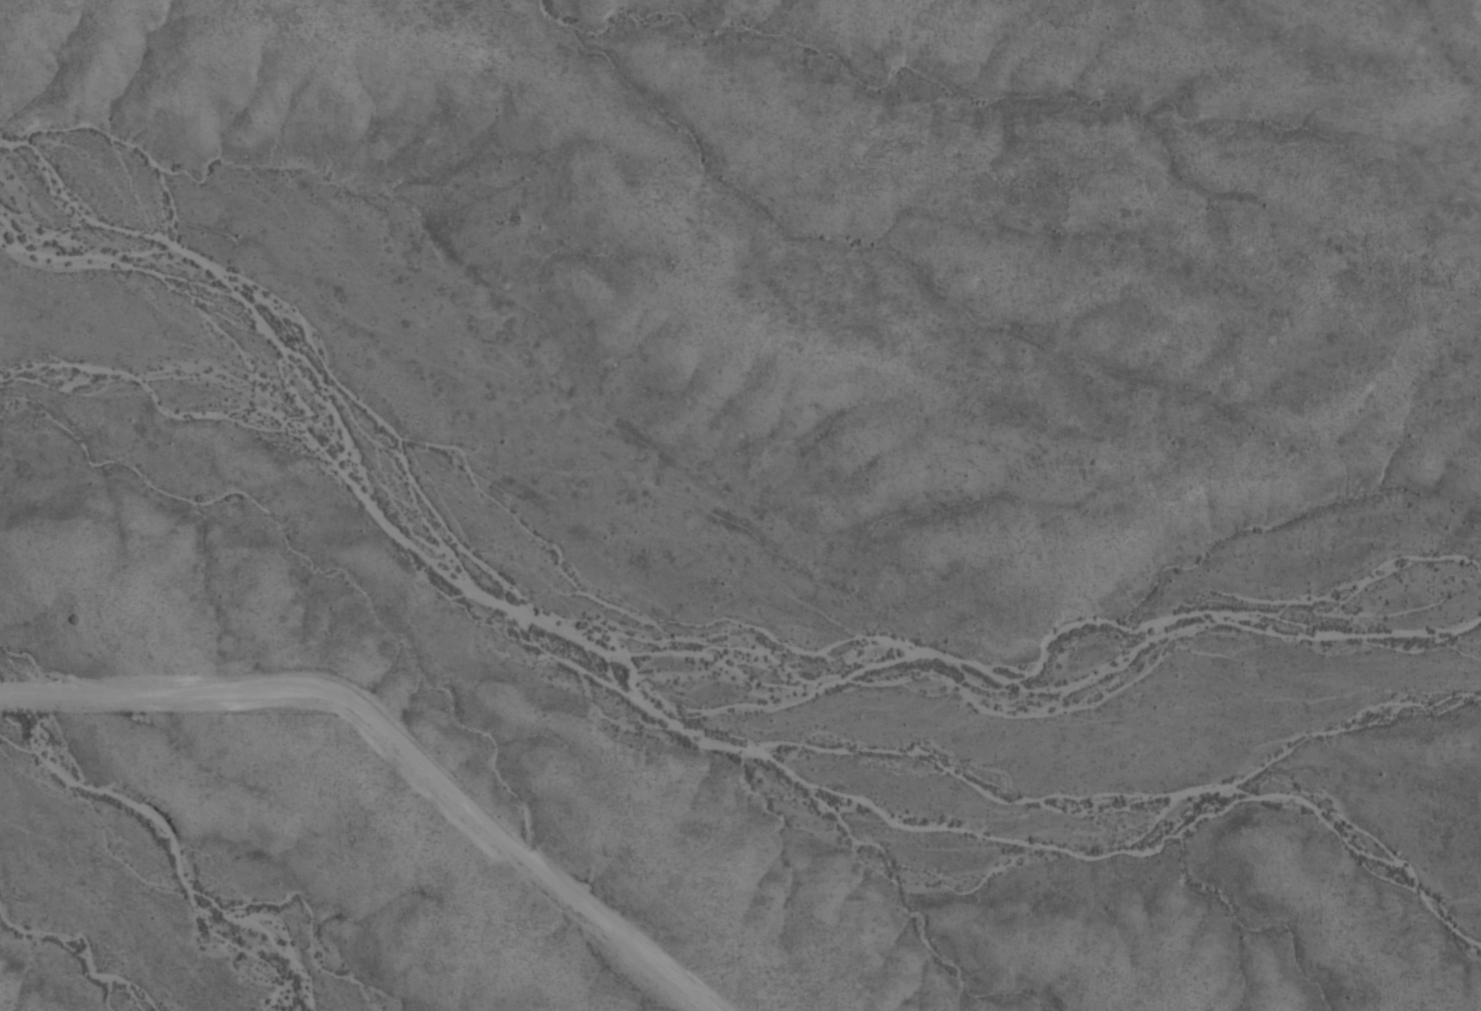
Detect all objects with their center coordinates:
road: (398, 740)

